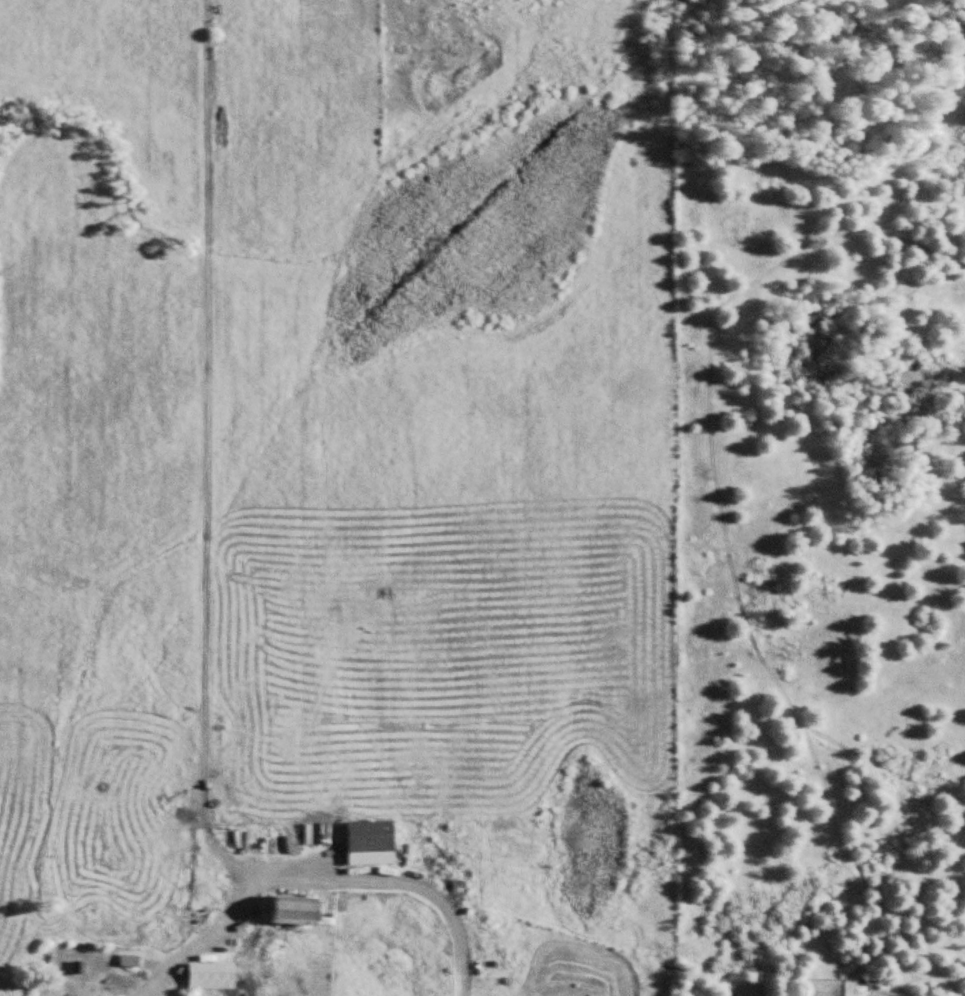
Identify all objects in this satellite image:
building: (313, 832)
building: (372, 842)
building: (293, 909)
building: (212, 975)

